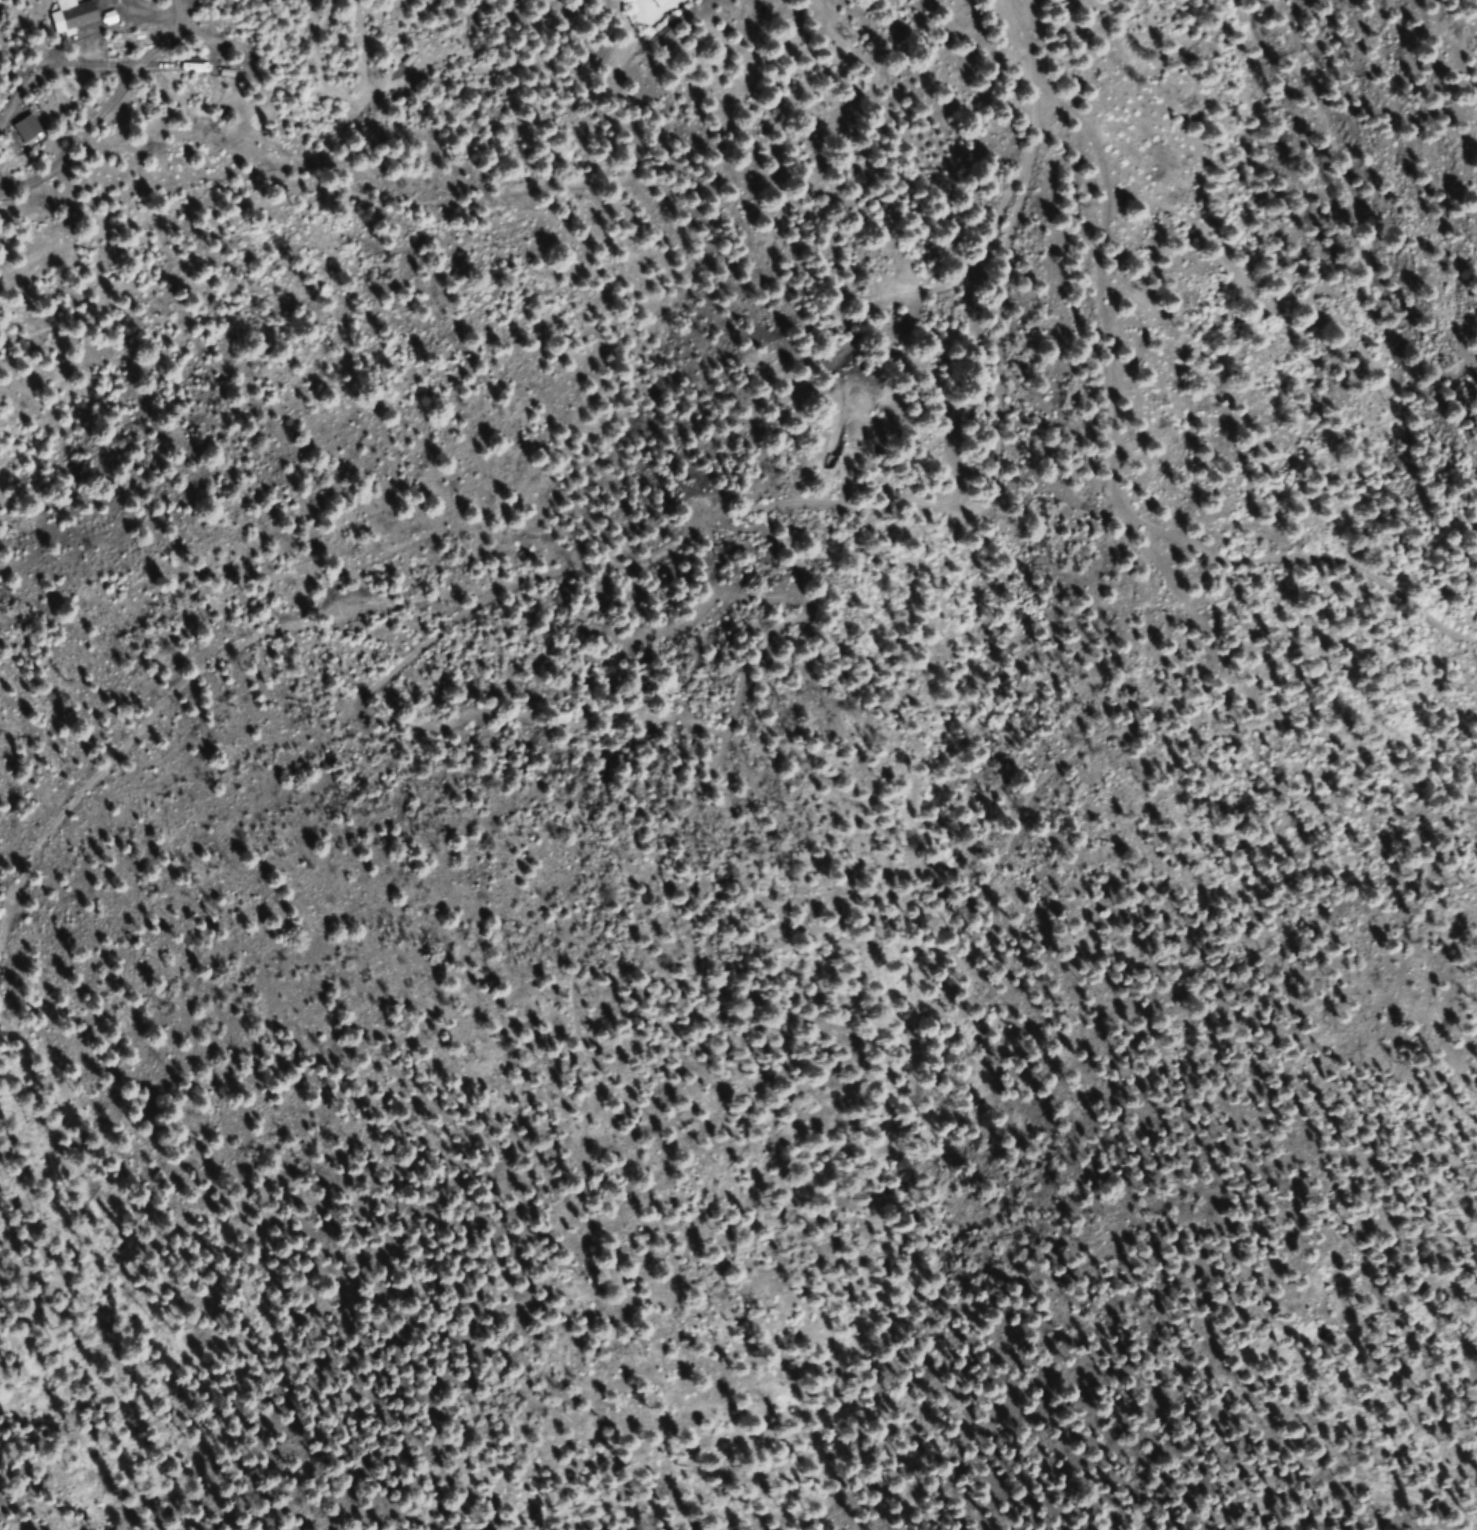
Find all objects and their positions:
building: (658, 2)
road: (1015, 51)
mineshaft: (455, 526)
mineshaft: (581, 604)
mineshaft: (520, 738)
mineshaft: (462, 743)
mineshaft: (472, 884)

